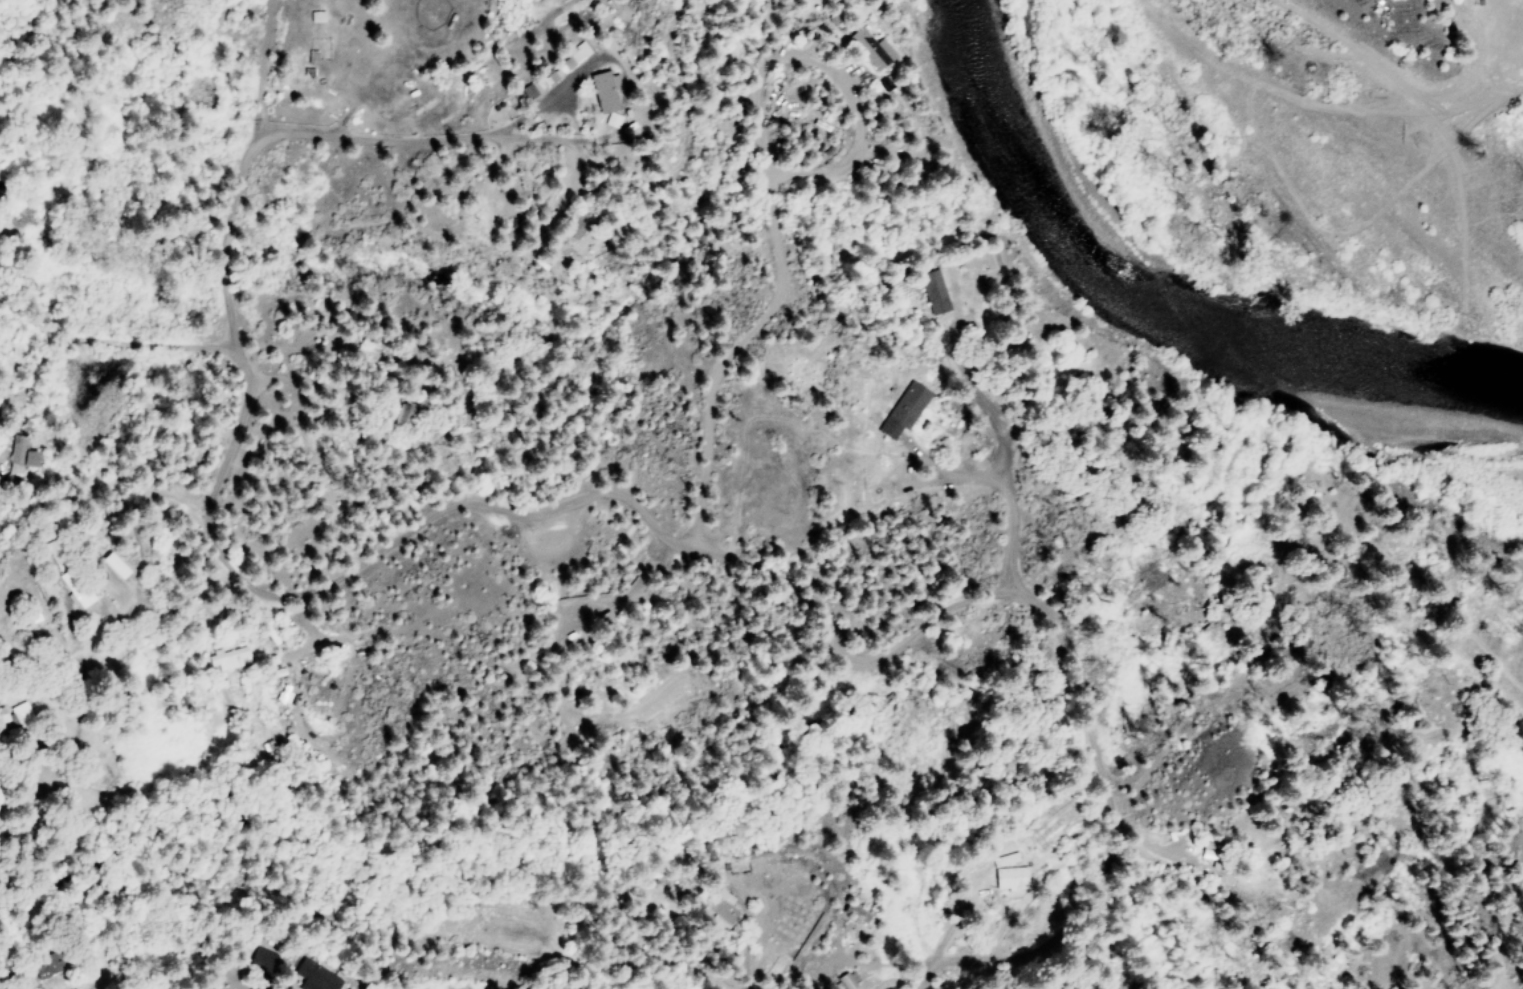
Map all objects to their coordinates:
building: (315, 16)
building: (870, 48)
building: (560, 65)
building: (600, 90)
building: (524, 91)
road: (540, 100)
road: (554, 100)
road: (315, 134)
road: (514, 137)
road: (769, 191)
river: (1214, 256)
building: (933, 292)
road: (115, 338)
road: (242, 357)
building: (903, 409)
building: (393, 416)
building: (19, 457)
road: (979, 470)
building: (114, 565)
building: (80, 596)
building: (227, 658)
road: (855, 658)
road: (110, 689)
building: (20, 711)
building: (2, 715)
building: (1007, 879)
building: (720, 909)
building: (259, 961)
building: (46, 967)
building: (313, 976)
building: (844, 981)

